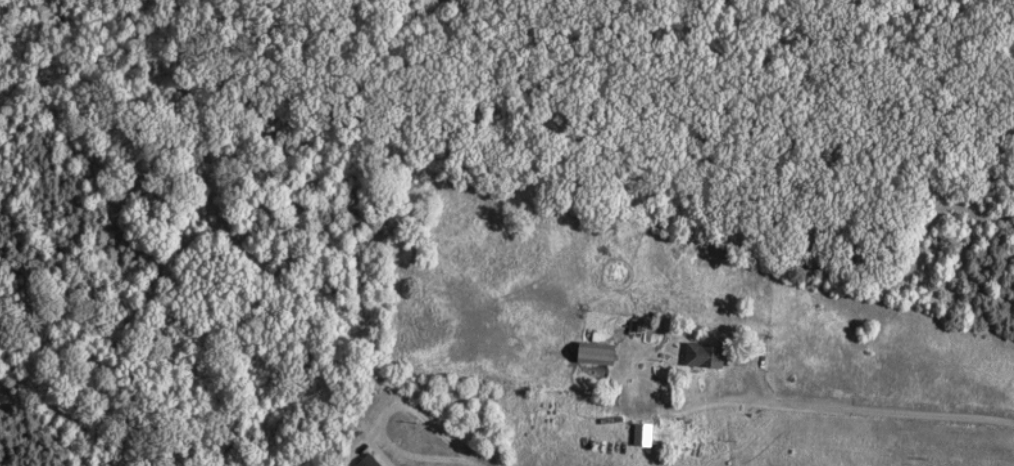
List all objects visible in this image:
building: (586, 355)
building: (695, 356)
road: (874, 410)
road: (381, 419)
building: (636, 436)
building: (362, 461)
road: (471, 463)

